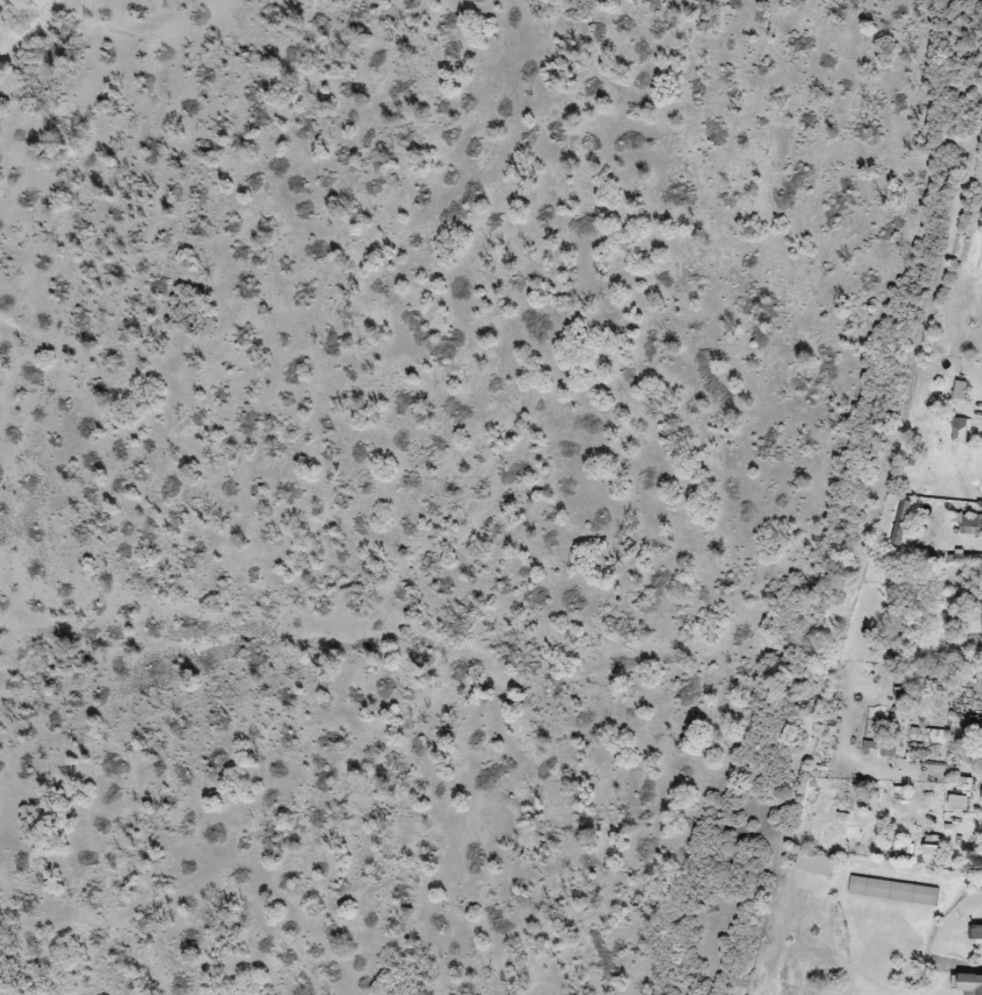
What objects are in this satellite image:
building: (963, 430)
building: (971, 522)
building: (897, 574)
building: (886, 749)
building: (968, 787)
building: (906, 793)
building: (820, 863)
building: (895, 891)
building: (976, 933)
building: (975, 985)

